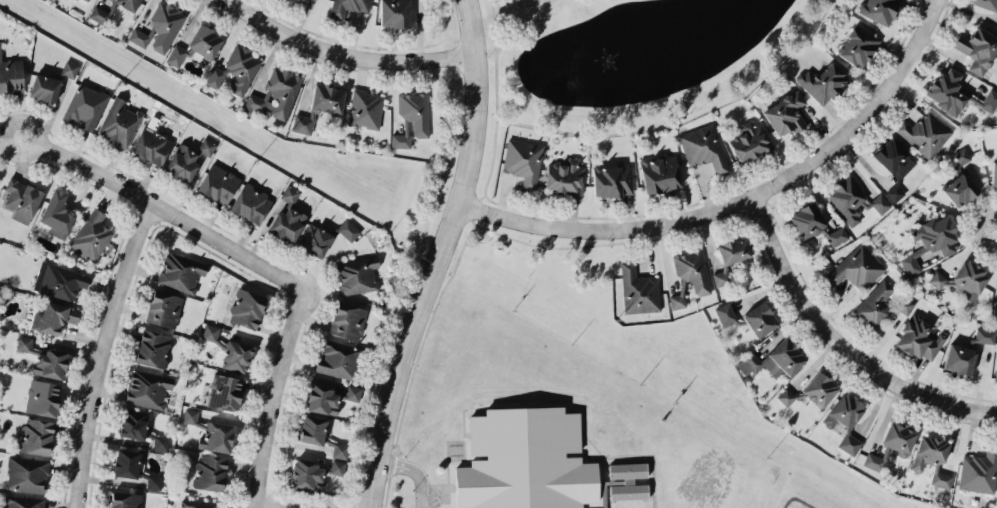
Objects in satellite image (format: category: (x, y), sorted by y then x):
building: (298, 1)
building: (986, 3)
building: (347, 8)
building: (111, 10)
building: (878, 10)
building: (395, 13)
road: (506, 22)
road: (525, 23)
building: (996, 25)
building: (159, 28)
building: (205, 41)
building: (858, 46)
building: (977, 49)
road: (345, 53)
building: (176, 55)
building: (69, 68)
building: (235, 71)
building: (11, 74)
building: (823, 82)
building: (44, 87)
building: (956, 93)
building: (275, 96)
building: (327, 98)
building: (85, 106)
building: (365, 109)
road: (497, 110)
building: (784, 114)
building: (411, 117)
building: (119, 123)
building: (302, 123)
building: (924, 133)
building: (749, 141)
building: (151, 145)
building: (206, 146)
building: (703, 147)
building: (522, 160)
building: (181, 163)
building: (894, 164)
building: (659, 173)
building: (994, 174)
building: (564, 176)
building: (611, 180)
building: (960, 181)
building: (218, 183)
building: (289, 194)
building: (22, 200)
building: (853, 200)
road: (743, 201)
building: (251, 203)
road: (163, 213)
building: (57, 214)
building: (287, 224)
building: (814, 224)
building: (348, 229)
building: (91, 235)
building: (315, 240)
building: (930, 241)
building: (733, 250)
road: (441, 255)
building: (856, 267)
building: (180, 271)
building: (356, 275)
building: (689, 276)
building: (720, 277)
building: (59, 280)
building: (963, 281)
building: (638, 290)
building: (880, 304)
building: (163, 308)
building: (246, 308)
building: (994, 311)
building: (725, 313)
building: (53, 317)
building: (759, 319)
building: (348, 321)
building: (210, 332)
building: (984, 335)
building: (918, 338)
road: (840, 344)
building: (153, 348)
road: (100, 354)
building: (236, 355)
building: (44, 358)
building: (959, 358)
building: (338, 359)
building: (772, 359)
building: (996, 366)
building: (147, 388)
building: (819, 388)
building: (225, 391)
building: (786, 396)
building: (42, 397)
road: (271, 397)
building: (329, 397)
building: (845, 420)
building: (133, 423)
building: (211, 432)
building: (320, 434)
building: (36, 436)
building: (897, 437)
building: (161, 442)
building: (932, 458)
building: (525, 460)
building: (873, 461)
building: (126, 462)
building: (337, 466)
building: (209, 471)
building: (979, 471)
road: (414, 472)
building: (27, 473)
building: (628, 480)
building: (154, 481)
building: (125, 500)
building: (24, 501)
building: (199, 504)

